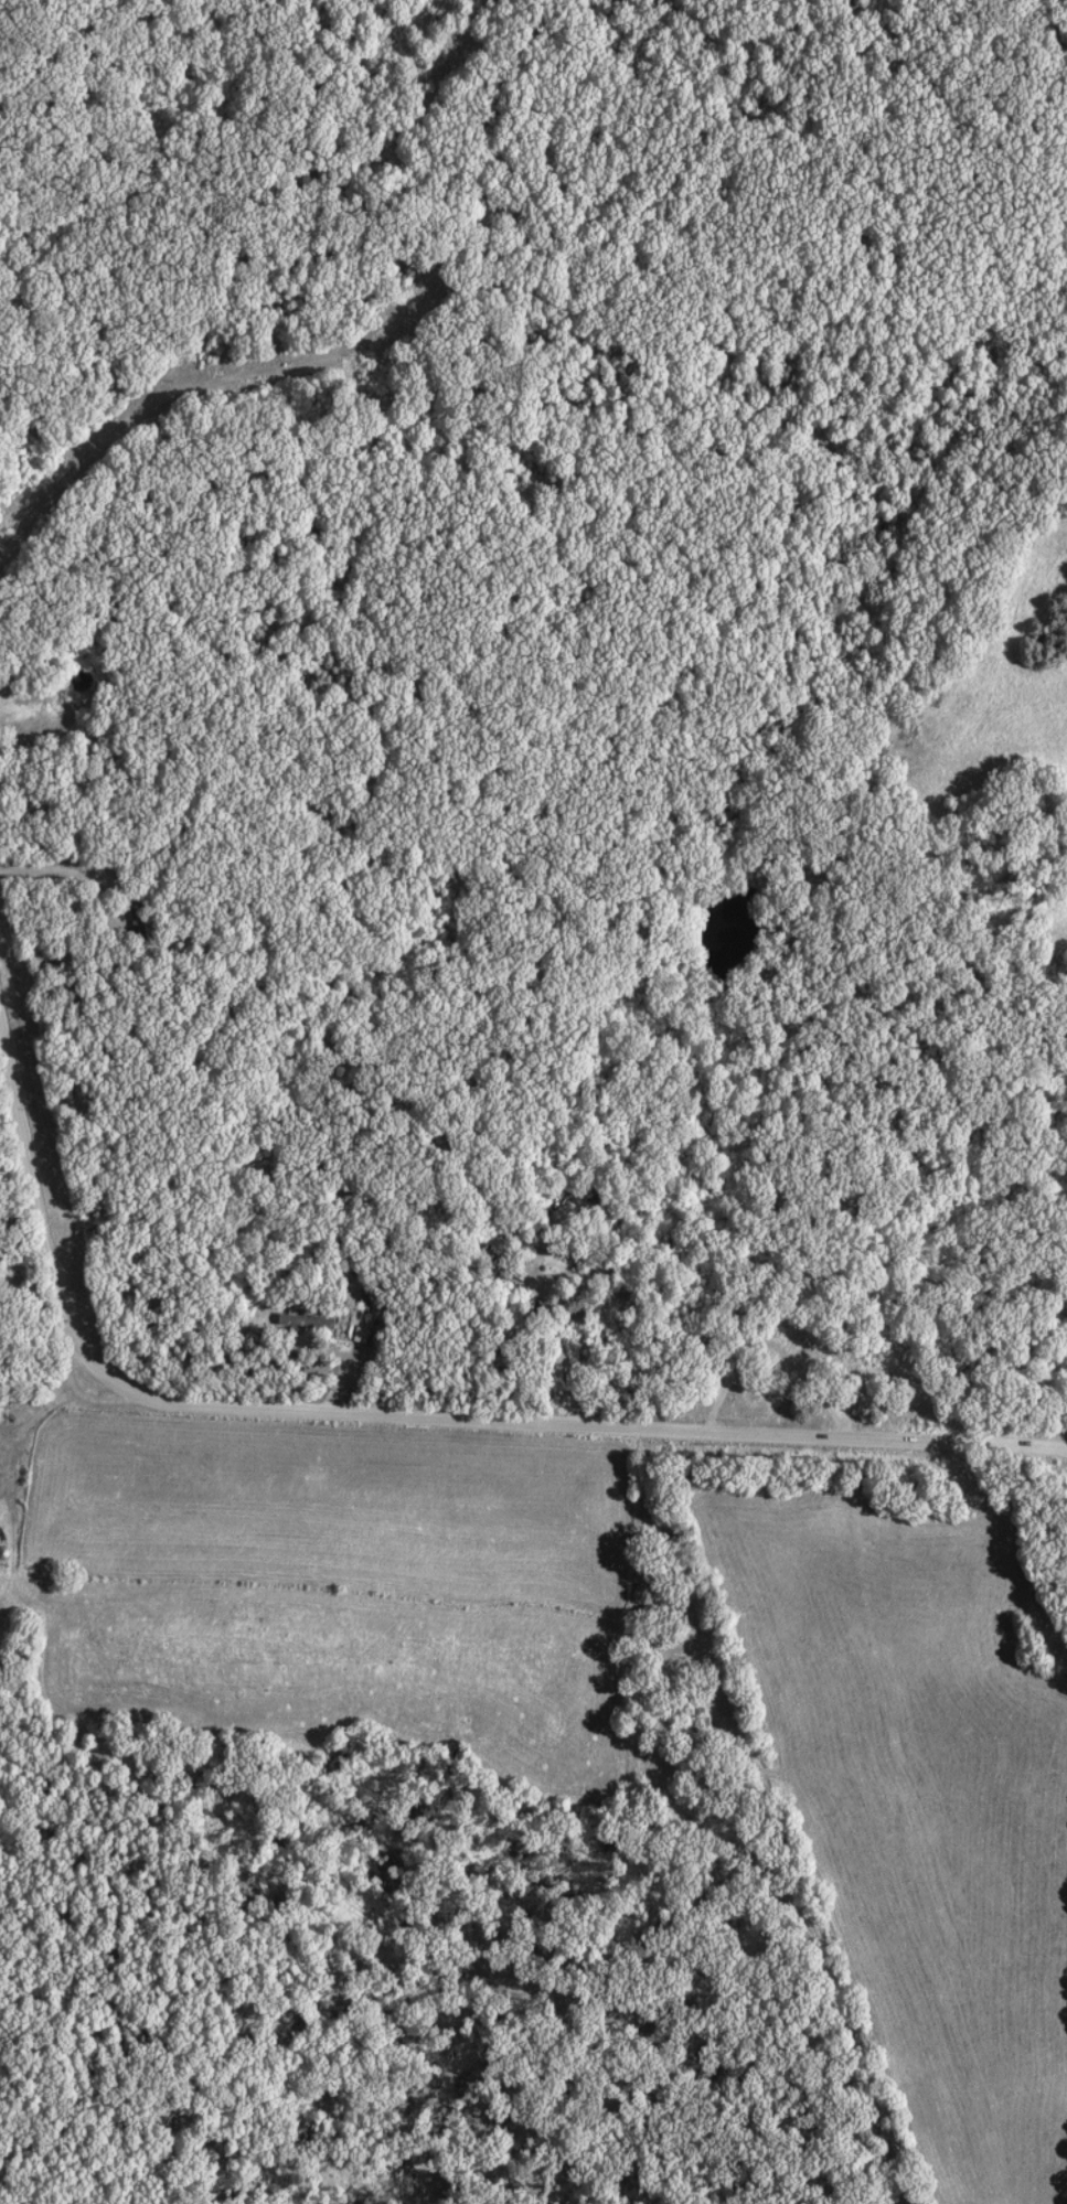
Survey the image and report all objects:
building: (134, 921)
building: (564, 1190)
building: (608, 1242)
building: (300, 1323)
building: (356, 1336)
building: (796, 1341)
road: (441, 1421)
building: (0, 1462)

